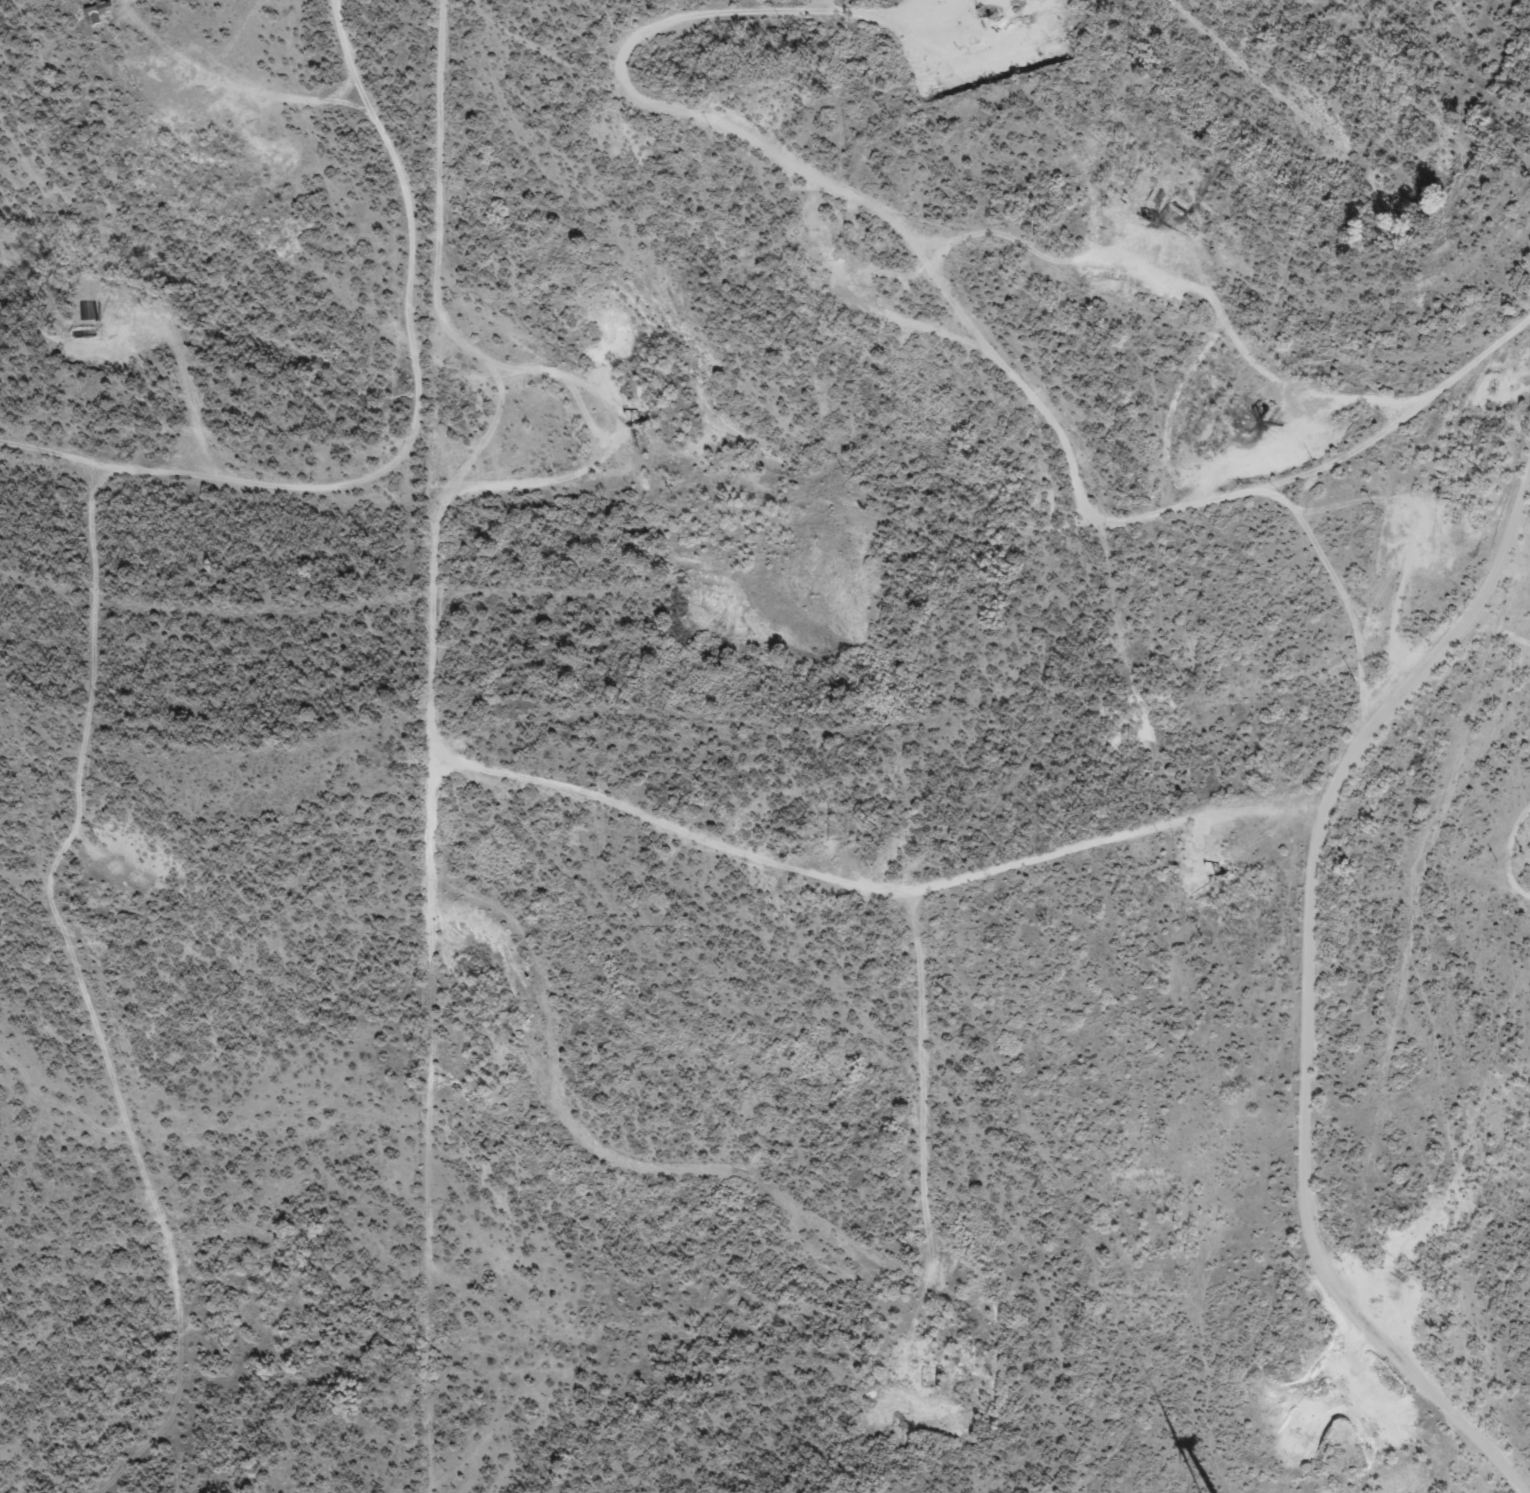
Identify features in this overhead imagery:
building: (98, 13)
road: (1243, 40)
road: (760, 187)
road: (427, 231)
road: (784, 500)
road: (1385, 638)
road: (101, 667)
road: (1120, 846)
road: (1345, 1086)

